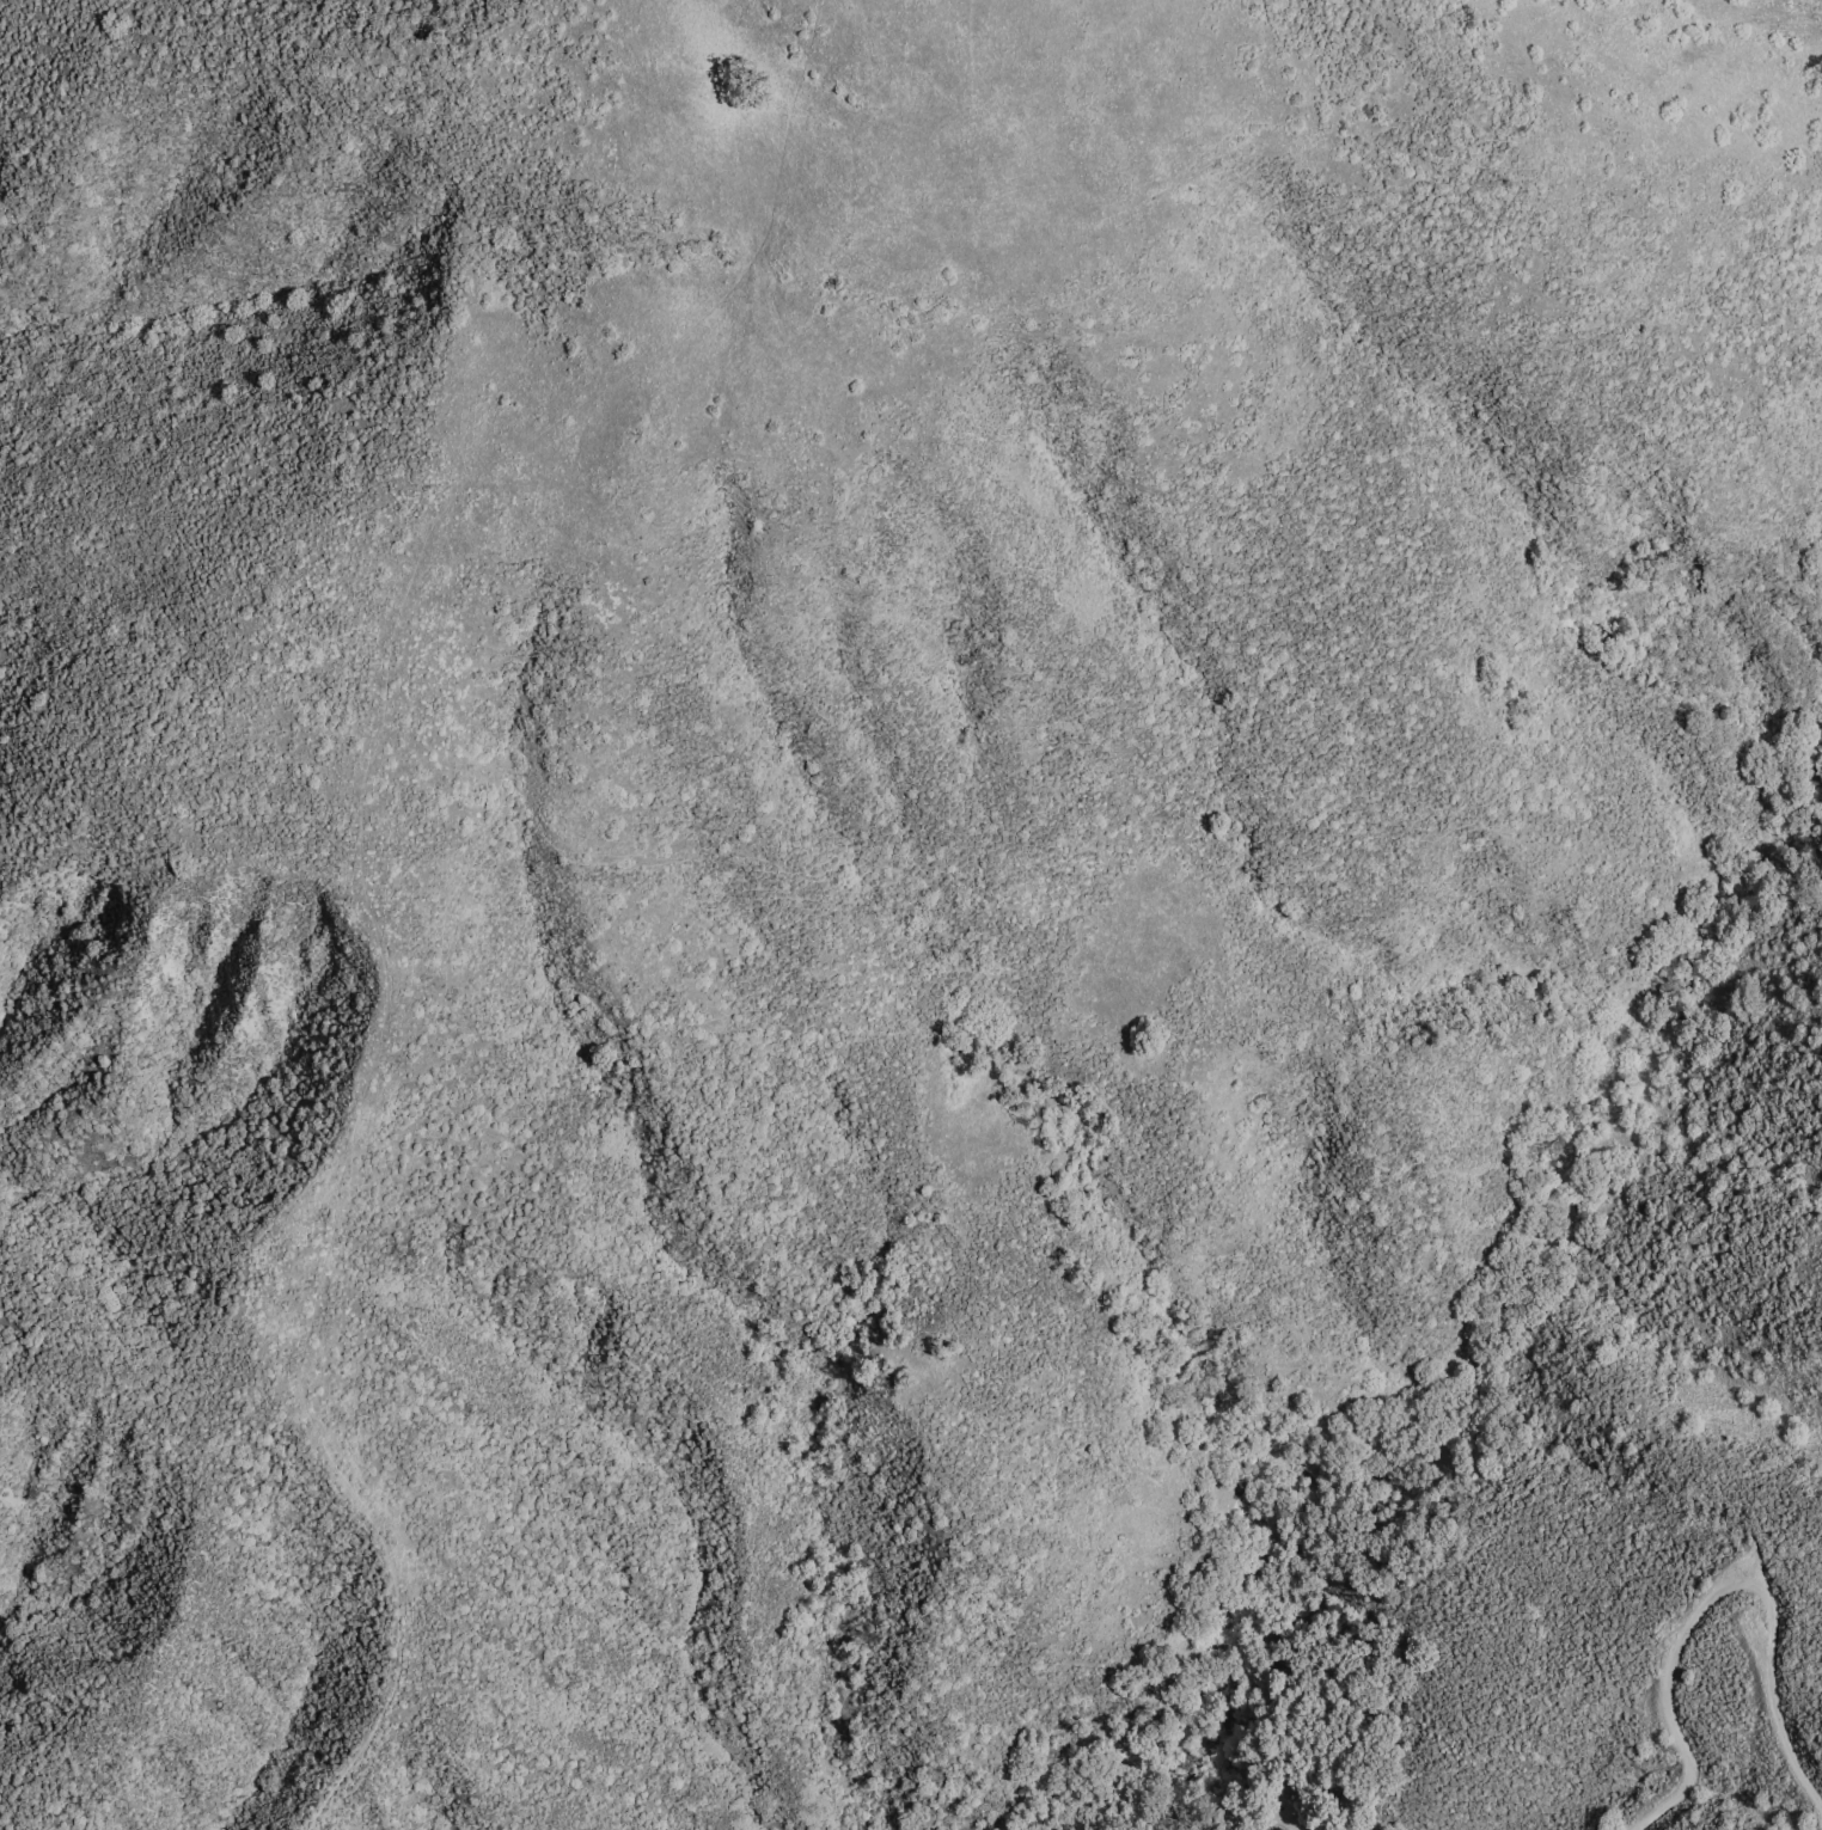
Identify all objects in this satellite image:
road: (1722, 1591)

